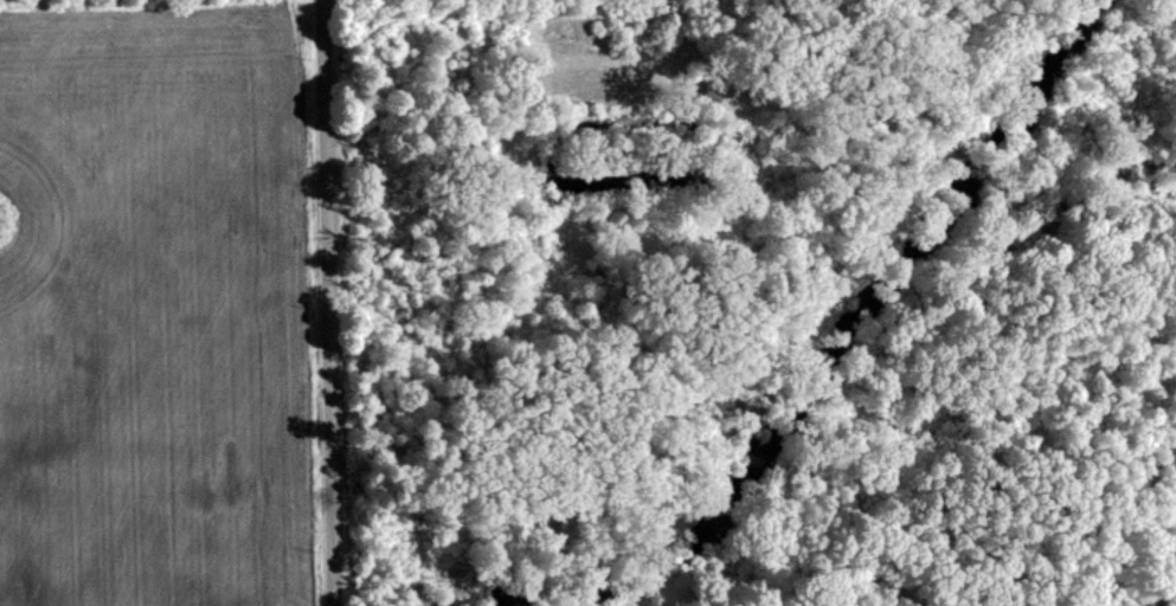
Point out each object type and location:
road: (323, 303)

